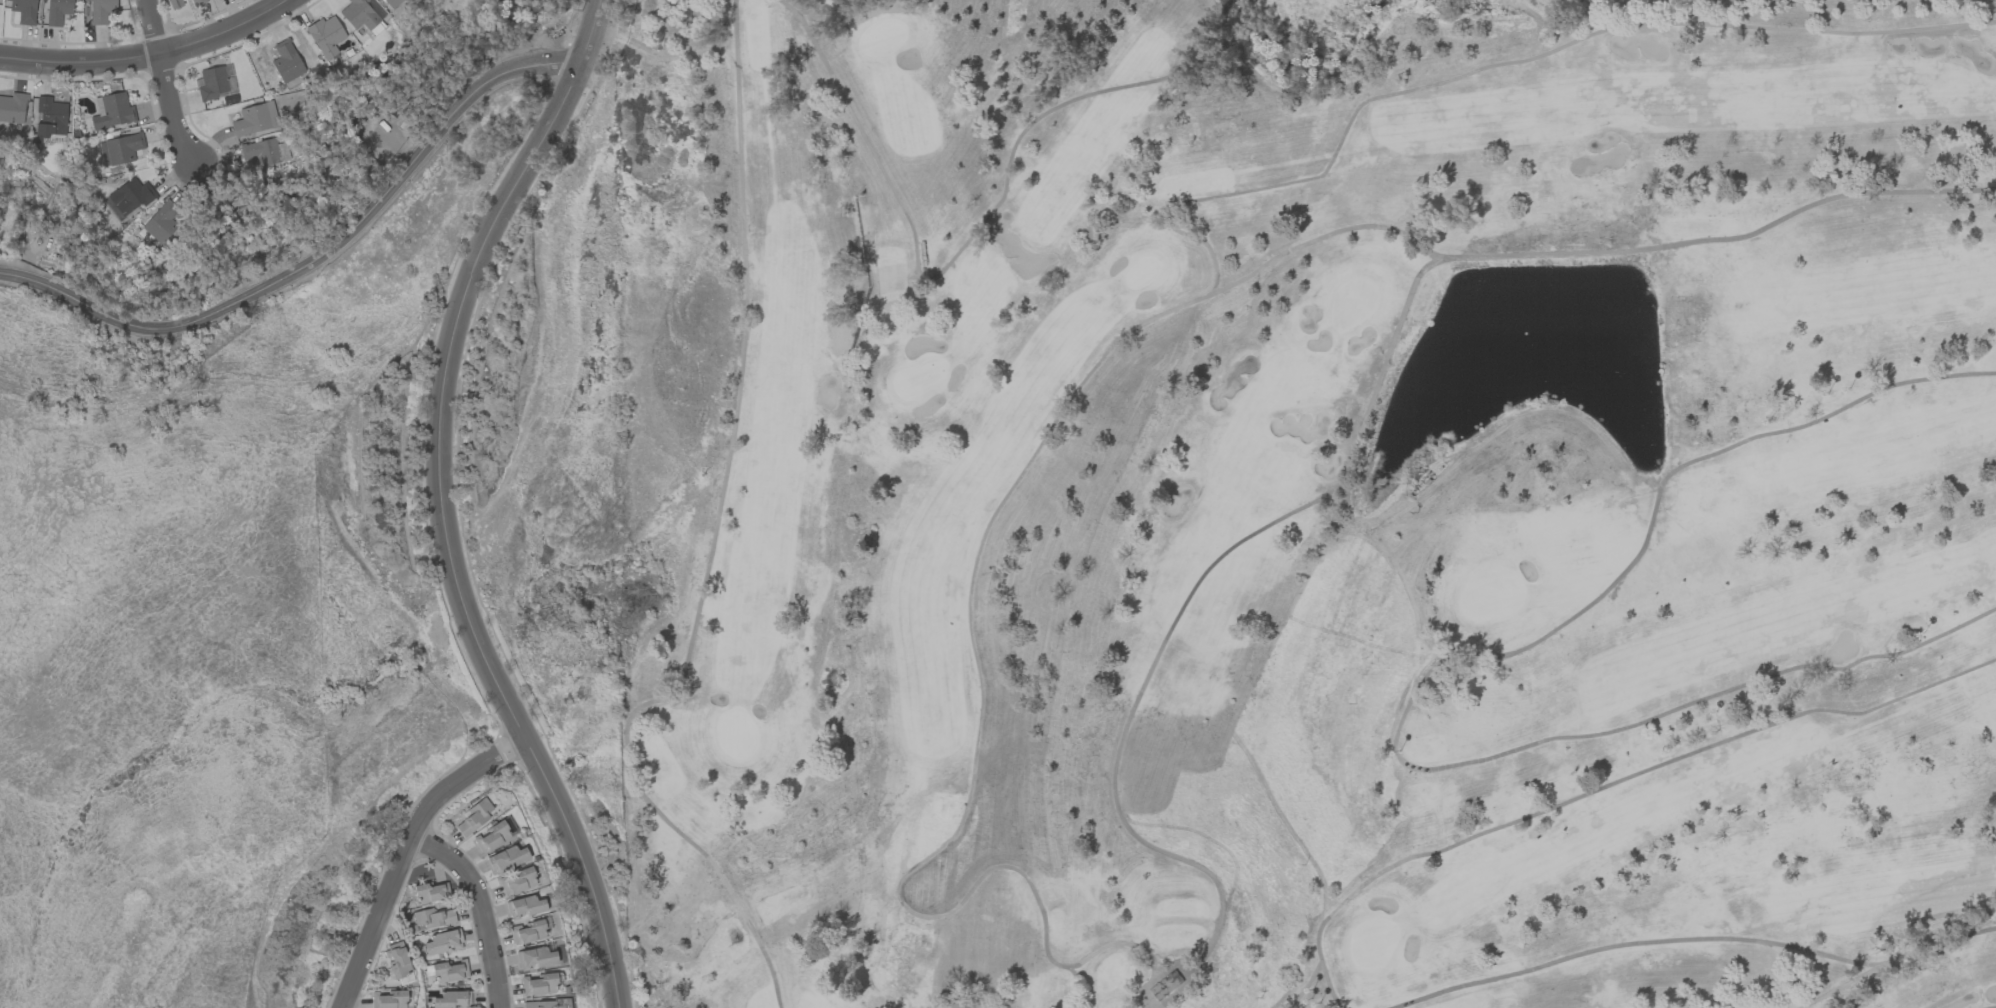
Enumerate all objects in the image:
building: (197, 2)
building: (175, 3)
building: (392, 3)
building: (23, 10)
building: (100, 10)
building: (57, 11)
building: (361, 15)
building: (325, 35)
road: (144, 54)
building: (285, 61)
road: (165, 81)
building: (210, 83)
building: (12, 107)
building: (111, 110)
building: (49, 118)
building: (254, 118)
building: (119, 148)
building: (262, 152)
building: (129, 196)
building: (160, 223)
road: (314, 260)
park: (1266, 501)
road: (438, 503)
building: (474, 815)
building: (491, 836)
road: (403, 851)
building: (506, 858)
building: (515, 881)
building: (430, 892)
road: (481, 904)
building: (524, 906)
building: (431, 917)
building: (526, 931)
building: (442, 941)
building: (534, 958)
building: (397, 960)
building: (448, 971)
building: (538, 984)
building: (1167, 985)
building: (388, 999)
building: (451, 999)
building: (540, 1004)

